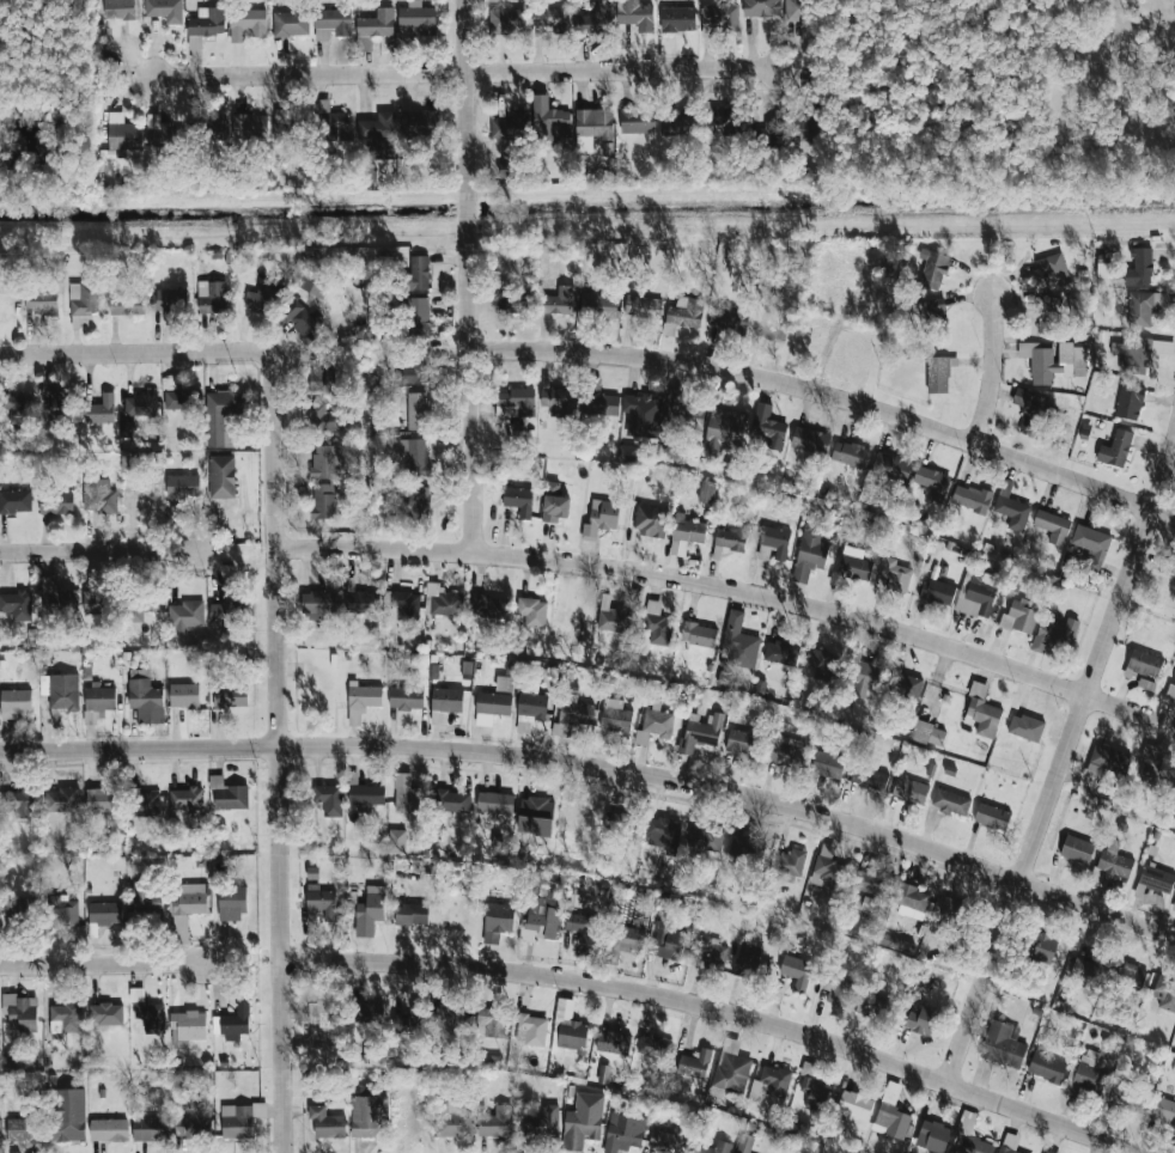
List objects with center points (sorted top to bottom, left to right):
building: (761, 7)
building: (118, 10)
building: (165, 10)
building: (796, 10)
building: (637, 14)
building: (719, 16)
building: (418, 17)
building: (549, 18)
building: (677, 19)
building: (506, 20)
building: (207, 22)
building: (291, 24)
building: (331, 24)
building: (377, 24)
building: (246, 25)
road: (464, 73)
building: (723, 117)
building: (637, 120)
building: (331, 121)
building: (550, 121)
building: (419, 123)
building: (595, 123)
building: (680, 123)
building: (217, 124)
building: (282, 124)
building: (250, 126)
building: (511, 126)
building: (122, 133)
building: (163, 133)
building: (379, 134)
building: (769, 134)
building: (108, 159)
building: (506, 169)
building: (933, 268)
building: (1140, 268)
building: (1053, 269)
building: (418, 273)
road: (467, 276)
building: (315, 279)
building: (212, 295)
building: (262, 297)
building: (512, 297)
building: (84, 299)
building: (169, 300)
building: (41, 301)
building: (558, 301)
building: (127, 303)
building: (599, 305)
building: (1145, 306)
building: (643, 307)
building: (930, 309)
building: (686, 312)
building: (1048, 313)
building: (418, 316)
building: (729, 318)
building: (302, 321)
building: (773, 330)
road: (157, 349)
building: (1137, 354)
building: (1053, 361)
building: (418, 370)
road: (990, 370)
building: (938, 374)
building: (322, 376)
building: (169, 384)
road: (828, 397)
building: (182, 399)
building: (558, 401)
building: (1130, 401)
building: (53, 402)
building: (516, 403)
building: (140, 404)
building: (16, 408)
building: (101, 410)
building: (418, 410)
building: (1029, 413)
building: (221, 415)
building: (641, 415)
building: (686, 416)
building: (323, 419)
building: (767, 427)
building: (126, 428)
building: (724, 429)
building: (810, 440)
building: (1116, 449)
building: (628, 452)
building: (850, 453)
building: (414, 455)
building: (129, 462)
building: (323, 462)
building: (891, 468)
building: (221, 476)
building: (932, 482)
building: (183, 486)
building: (707, 492)
building: (98, 496)
building: (139, 498)
building: (972, 498)
building: (324, 500)
building: (518, 500)
building: (16, 501)
building: (56, 502)
building: (418, 502)
building: (554, 502)
building: (1011, 507)
building: (601, 518)
building: (650, 520)
building: (1053, 526)
building: (688, 530)
building: (732, 538)
building: (775, 541)
building: (1091, 547)
road: (97, 551)
building: (810, 554)
building: (851, 566)
building: (1170, 569)
building: (896, 575)
road: (735, 590)
building: (937, 592)
building: (978, 594)
building: (56, 597)
building: (95, 602)
building: (444, 602)
building: (318, 603)
building: (365, 603)
building: (17, 605)
building: (406, 605)
building: (488, 606)
building: (134, 610)
building: (532, 612)
building: (224, 615)
building: (184, 616)
building: (1019, 616)
building: (613, 617)
building: (657, 624)
building: (1054, 633)
building: (699, 634)
building: (739, 642)
building: (779, 652)
road: (1097, 658)
building: (823, 664)
building: (1144, 664)
building: (467, 669)
building: (510, 669)
building: (865, 678)
building: (504, 684)
building: (905, 687)
building: (978, 690)
building: (61, 691)
building: (1170, 693)
building: (184, 695)
building: (365, 696)
building: (230, 697)
building: (406, 697)
building: (99, 698)
building: (16, 701)
building: (146, 701)
building: (445, 703)
building: (491, 707)
building: (531, 707)
building: (574, 710)
building: (355, 716)
building: (985, 716)
building: (616, 719)
building: (655, 726)
building: (1025, 727)
building: (700, 732)
building: (929, 733)
building: (743, 742)
building: (787, 751)
road: (518, 754)
building: (1108, 759)
building: (828, 764)
building: (1155, 769)
road: (279, 775)
building: (869, 777)
building: (909, 791)
building: (229, 794)
building: (366, 795)
building: (408, 795)
building: (328, 799)
building: (61, 800)
building: (103, 800)
building: (187, 801)
building: (452, 801)
building: (144, 803)
building: (495, 803)
building: (951, 803)
building: (18, 804)
building: (536, 816)
building: (992, 817)
building: (663, 832)
building: (705, 840)
building: (397, 841)
building: (745, 846)
building: (1077, 849)
building: (789, 862)
building: (1114, 865)
building: (828, 868)
building: (312, 873)
building: (870, 881)
building: (147, 901)
building: (913, 901)
building: (231, 903)
building: (319, 903)
building: (372, 905)
building: (187, 907)
building: (954, 908)
road: (1097, 908)
building: (25, 909)
building: (105, 913)
building: (63, 914)
building: (412, 914)
building: (541, 916)
building: (498, 921)
building: (580, 927)
building: (627, 939)
building: (669, 941)
building: (1042, 947)
building: (713, 952)
building: (750, 960)
road: (102, 963)
building: (797, 970)
building: (1086, 970)
building: (1130, 975)
road: (982, 982)
road: (620, 987)
building: (838, 989)
building: (1165, 993)
building: (871, 1006)
building: (20, 1012)
building: (323, 1012)
building: (366, 1012)
building: (105, 1014)
building: (151, 1015)
building: (67, 1017)
building: (450, 1020)
building: (923, 1020)
building: (492, 1021)
building: (233, 1024)
building: (406, 1024)
building: (188, 1027)
building: (532, 1030)
building: (572, 1036)
building: (613, 1042)
building: (1003, 1045)
building: (655, 1047)
building: (695, 1063)
building: (731, 1067)
building: (1047, 1067)
building: (1086, 1074)
building: (771, 1082)
building: (815, 1094)
building: (1132, 1100)
building: (854, 1105)
building: (1163, 1110)
building: (366, 1112)
building: (66, 1115)
road: (1040, 1118)
building: (237, 1121)
building: (583, 1121)
building: (497, 1122)
building: (542, 1122)
building: (891, 1122)
building: (327, 1123)
building: (453, 1123)
building: (191, 1127)
building: (0, 1128)
building: (24, 1128)
building: (148, 1129)
building: (109, 1130)
building: (623, 1133)
building: (933, 1135)
building: (669, 1140)
building: (745, 1143)
building: (723, 1146)
building: (976, 1146)
building: (1048, 1152)

